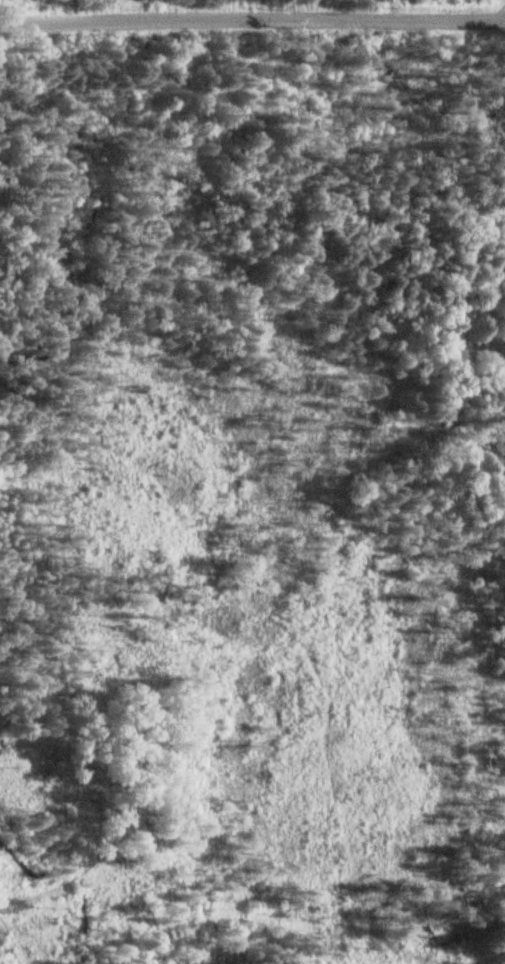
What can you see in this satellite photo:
road: (252, 21)

